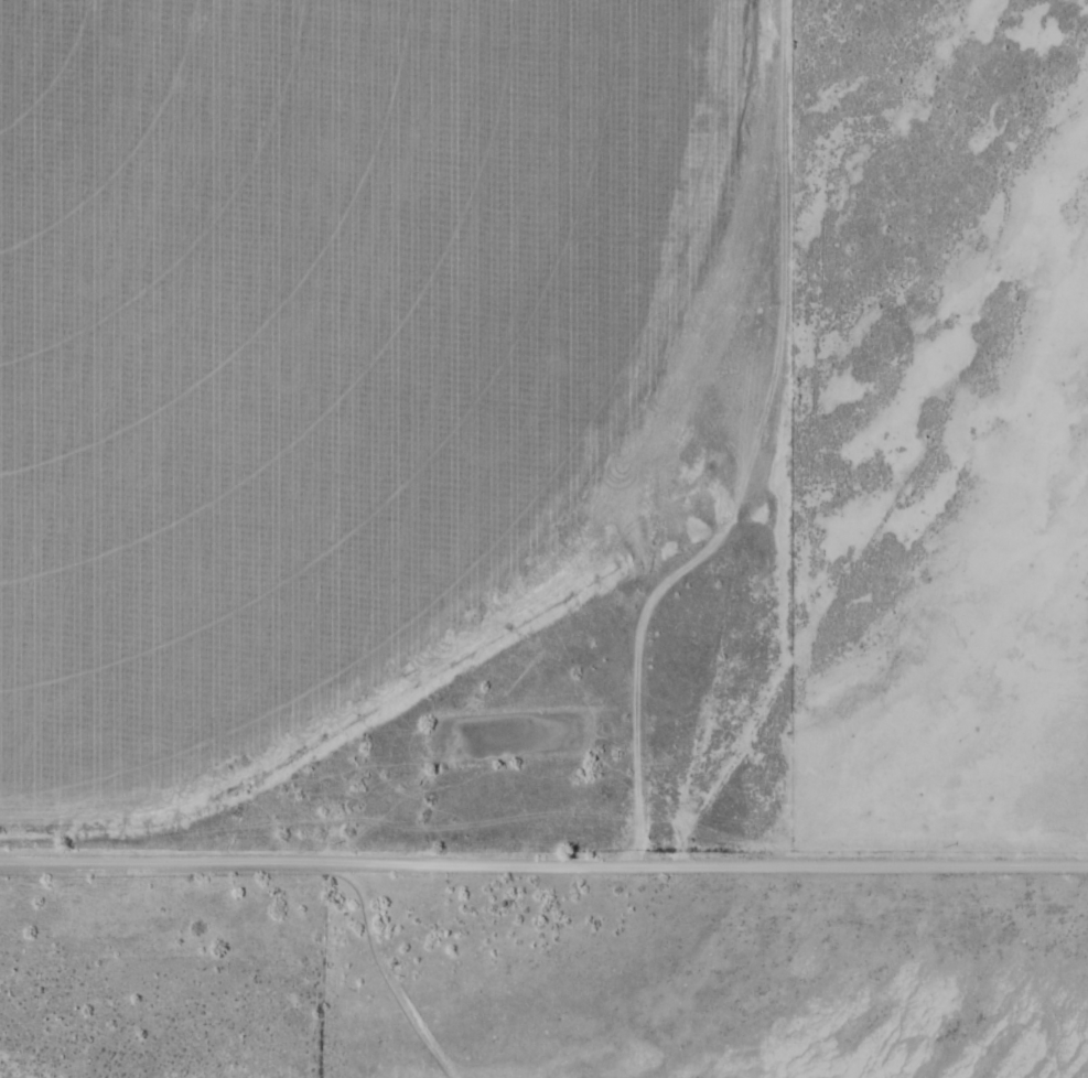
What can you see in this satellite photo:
crop: (311, 332)
road: (543, 858)

